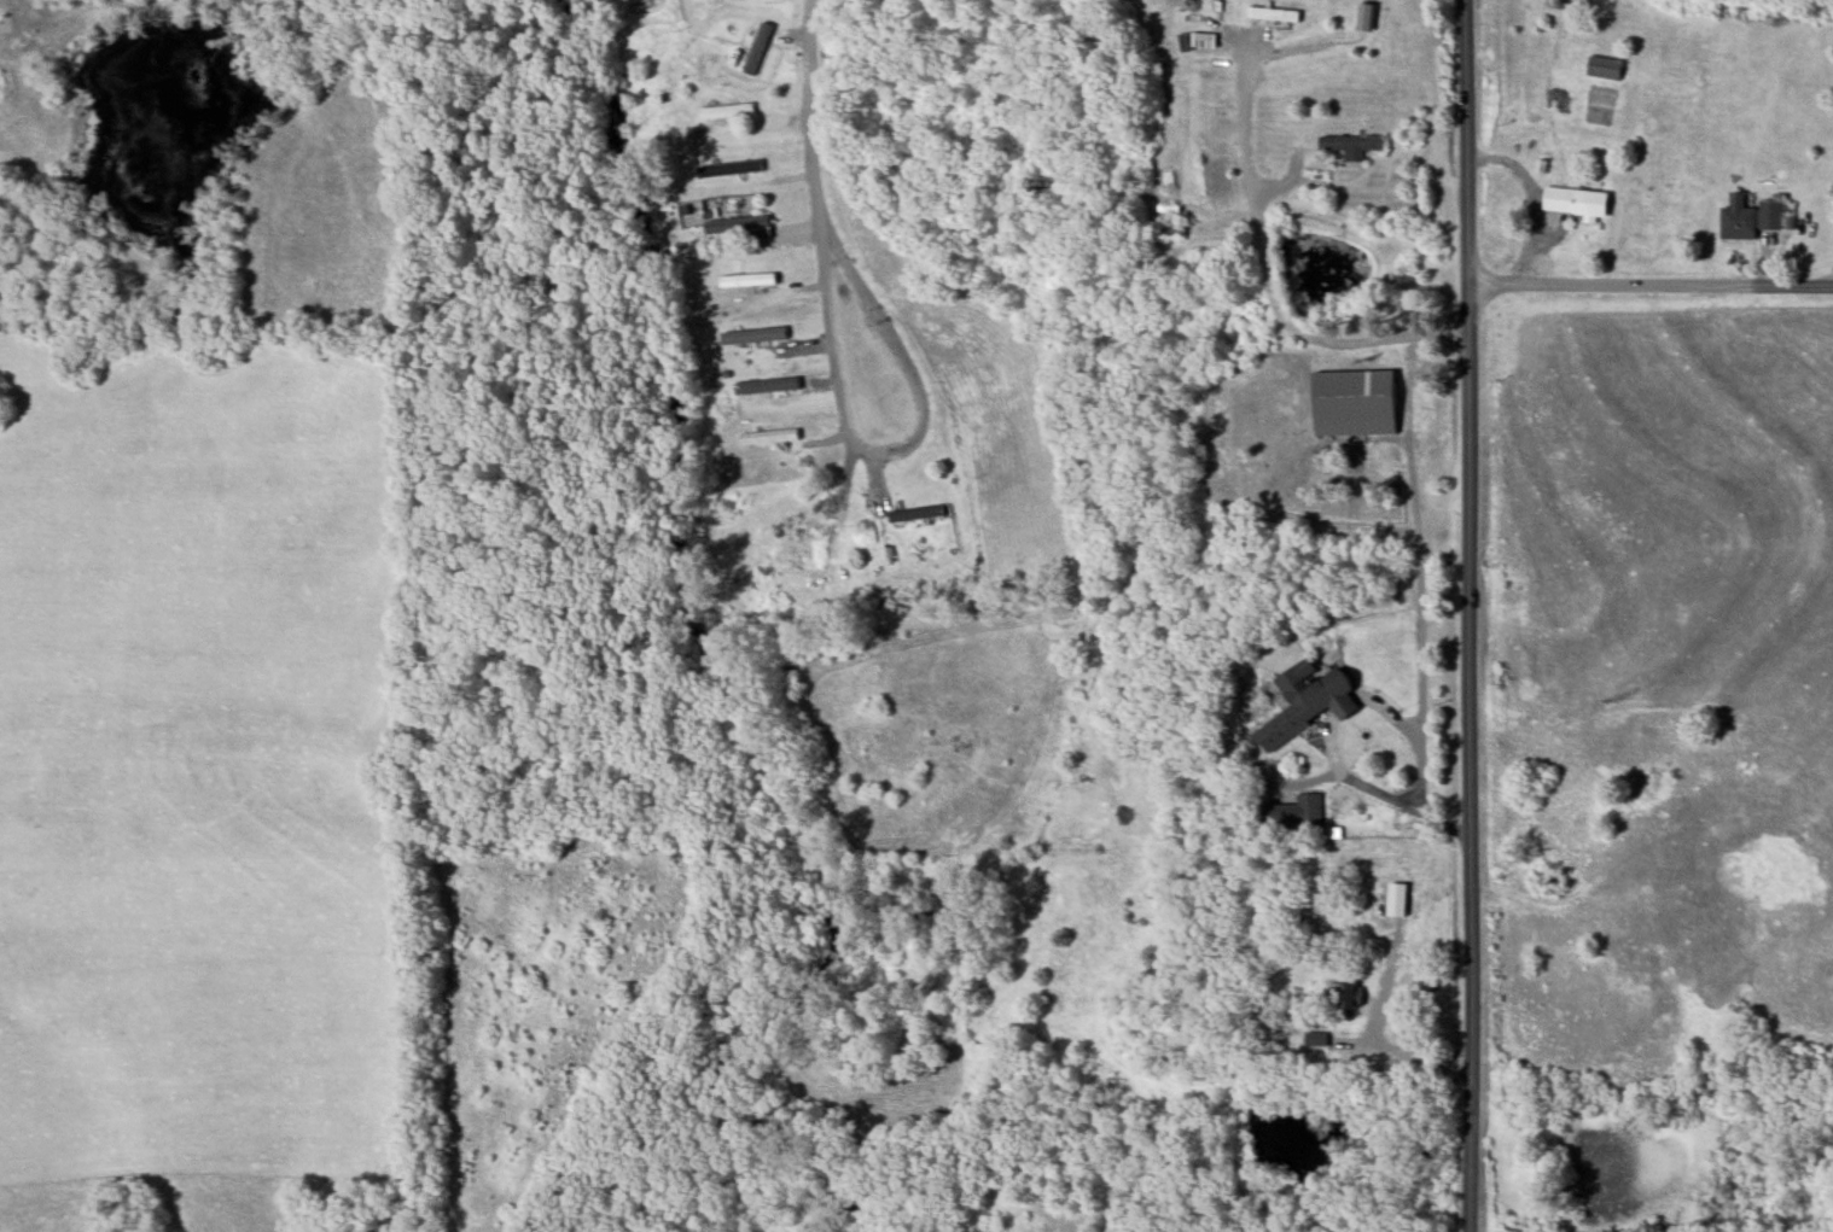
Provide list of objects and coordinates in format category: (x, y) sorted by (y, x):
building: (1274, 16)
building: (1366, 18)
building: (757, 49)
building: (1605, 69)
building: (727, 111)
road: (815, 118)
building: (1351, 145)
building: (737, 168)
building: (1214, 174)
building: (1577, 202)
building: (1774, 214)
building: (1739, 218)
building: (738, 224)
road: (1264, 263)
road: (1651, 282)
building: (755, 335)
building: (767, 386)
building: (1355, 402)
road: (920, 430)
building: (914, 513)
road: (1415, 571)
road: (1470, 615)
building: (1308, 701)
road: (1406, 805)
building: (1293, 813)
building: (1316, 1039)
road: (1400, 1050)

